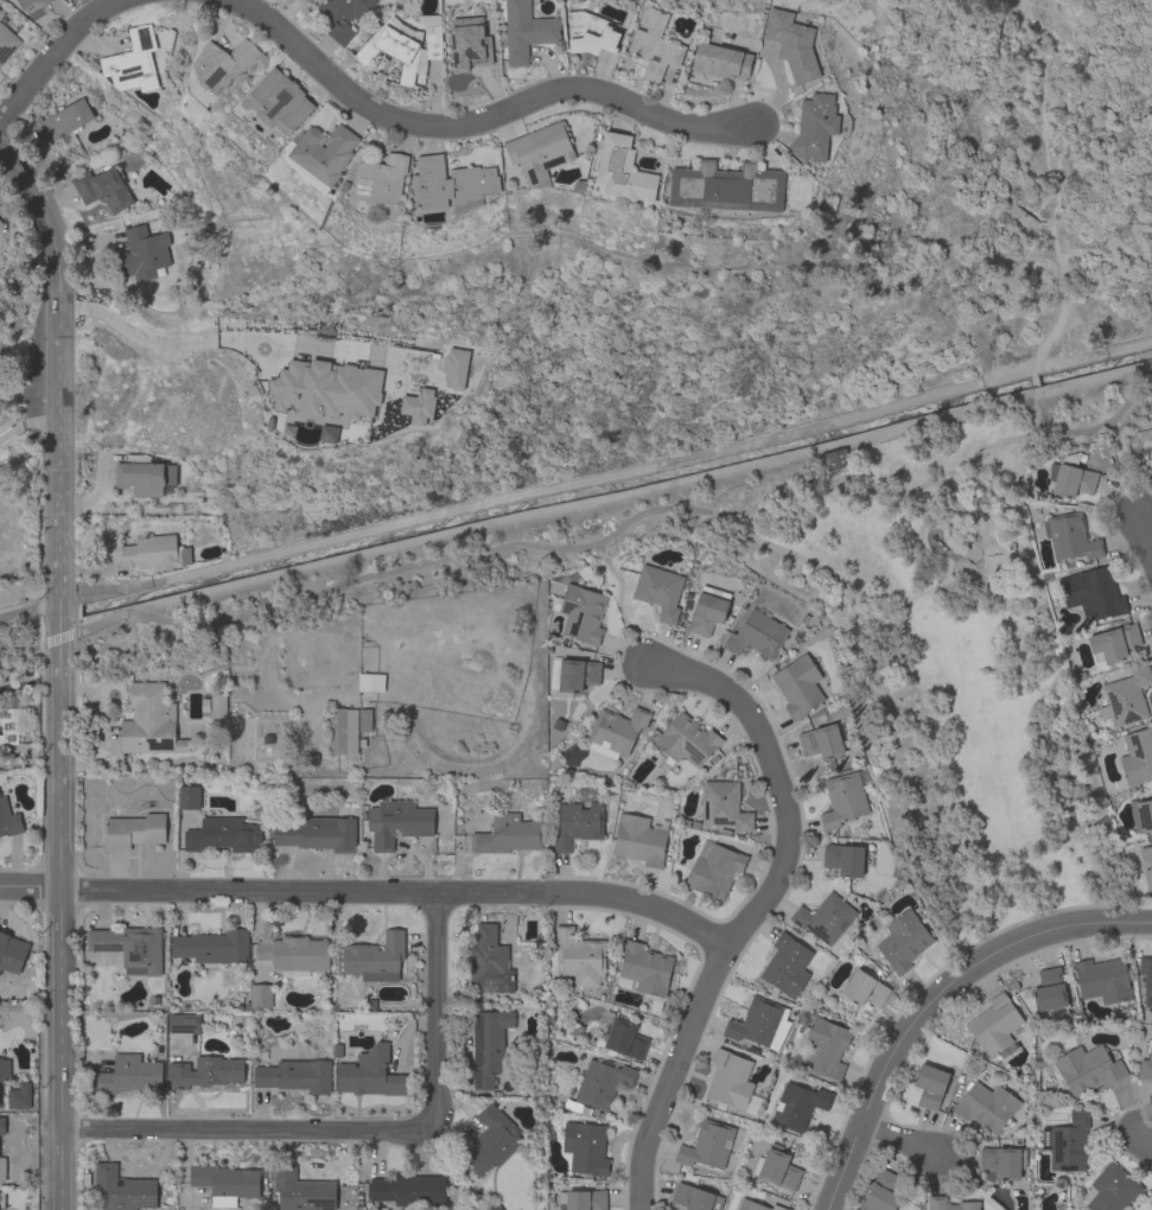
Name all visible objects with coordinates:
building: (32, 1)
building: (303, 1)
building: (1, 14)
building: (337, 25)
building: (526, 31)
building: (590, 33)
building: (7, 42)
building: (403, 44)
building: (793, 44)
building: (653, 45)
road: (58, 57)
building: (721, 59)
building: (132, 62)
building: (223, 64)
building: (279, 101)
building: (68, 119)
road: (475, 122)
building: (815, 126)
building: (540, 152)
building: (322, 154)
building: (623, 170)
building: (380, 179)
building: (452, 184)
building: (727, 186)
building: (103, 187)
building: (0, 221)
road: (1122, 246)
building: (144, 253)
road: (1063, 288)
road: (174, 337)
building: (453, 367)
road: (61, 369)
building: (325, 388)
building: (416, 406)
road: (28, 427)
building: (835, 458)
building: (1150, 465)
building: (144, 477)
building: (1071, 477)
road: (620, 524)
building: (1070, 536)
road: (1144, 539)
building: (147, 552)
building: (658, 590)
road: (27, 591)
building: (1093, 592)
road: (617, 601)
building: (580, 612)
road: (58, 613)
building: (706, 613)
building: (757, 633)
road: (56, 636)
road: (20, 643)
building: (1114, 643)
park: (940, 669)
building: (572, 675)
building: (797, 684)
building: (1126, 698)
building: (217, 705)
building: (149, 721)
building: (8, 726)
building: (345, 728)
building: (616, 731)
building: (687, 740)
building: (821, 741)
building: (1137, 756)
building: (186, 796)
building: (842, 800)
building: (725, 804)
building: (1141, 815)
building: (8, 820)
building: (578, 820)
building: (397, 822)
building: (133, 829)
building: (318, 833)
building: (224, 834)
building: (507, 834)
building: (639, 839)
building: (844, 859)
building: (1146, 864)
building: (714, 870)
road: (367, 894)
road: (755, 906)
road: (59, 917)
building: (825, 917)
building: (903, 941)
building: (212, 945)
building: (129, 947)
building: (12, 951)
building: (293, 954)
building: (580, 956)
building: (373, 957)
building: (490, 960)
building: (787, 966)
building: (645, 968)
building: (1146, 977)
building: (1102, 980)
building: (864, 988)
building: (1050, 992)
building: (261, 995)
road: (937, 1000)
road: (435, 1011)
building: (184, 1021)
building: (757, 1021)
building: (994, 1024)
building: (622, 1037)
building: (489, 1045)
building: (825, 1045)
building: (1145, 1066)
building: (1087, 1068)
building: (205, 1071)
building: (294, 1075)
building: (4, 1076)
building: (127, 1076)
building: (368, 1076)
building: (602, 1082)
building: (732, 1082)
building: (929, 1085)
building: (19, 1096)
building: (985, 1104)
building: (797, 1106)
building: (1, 1126)
road: (246, 1129)
road: (900, 1140)
road: (1145, 1140)
building: (489, 1141)
building: (1067, 1141)
building: (707, 1145)
building: (585, 1147)
building: (1003, 1161)
building: (777, 1167)
building: (2, 1168)
building: (224, 1183)
building: (122, 1189)
building: (408, 1189)
building: (1112, 1189)
building: (301, 1191)
building: (881, 1191)
building: (695, 1198)
building: (1, 1199)
building: (581, 1199)
building: (950, 1204)
building: (756, 1205)

